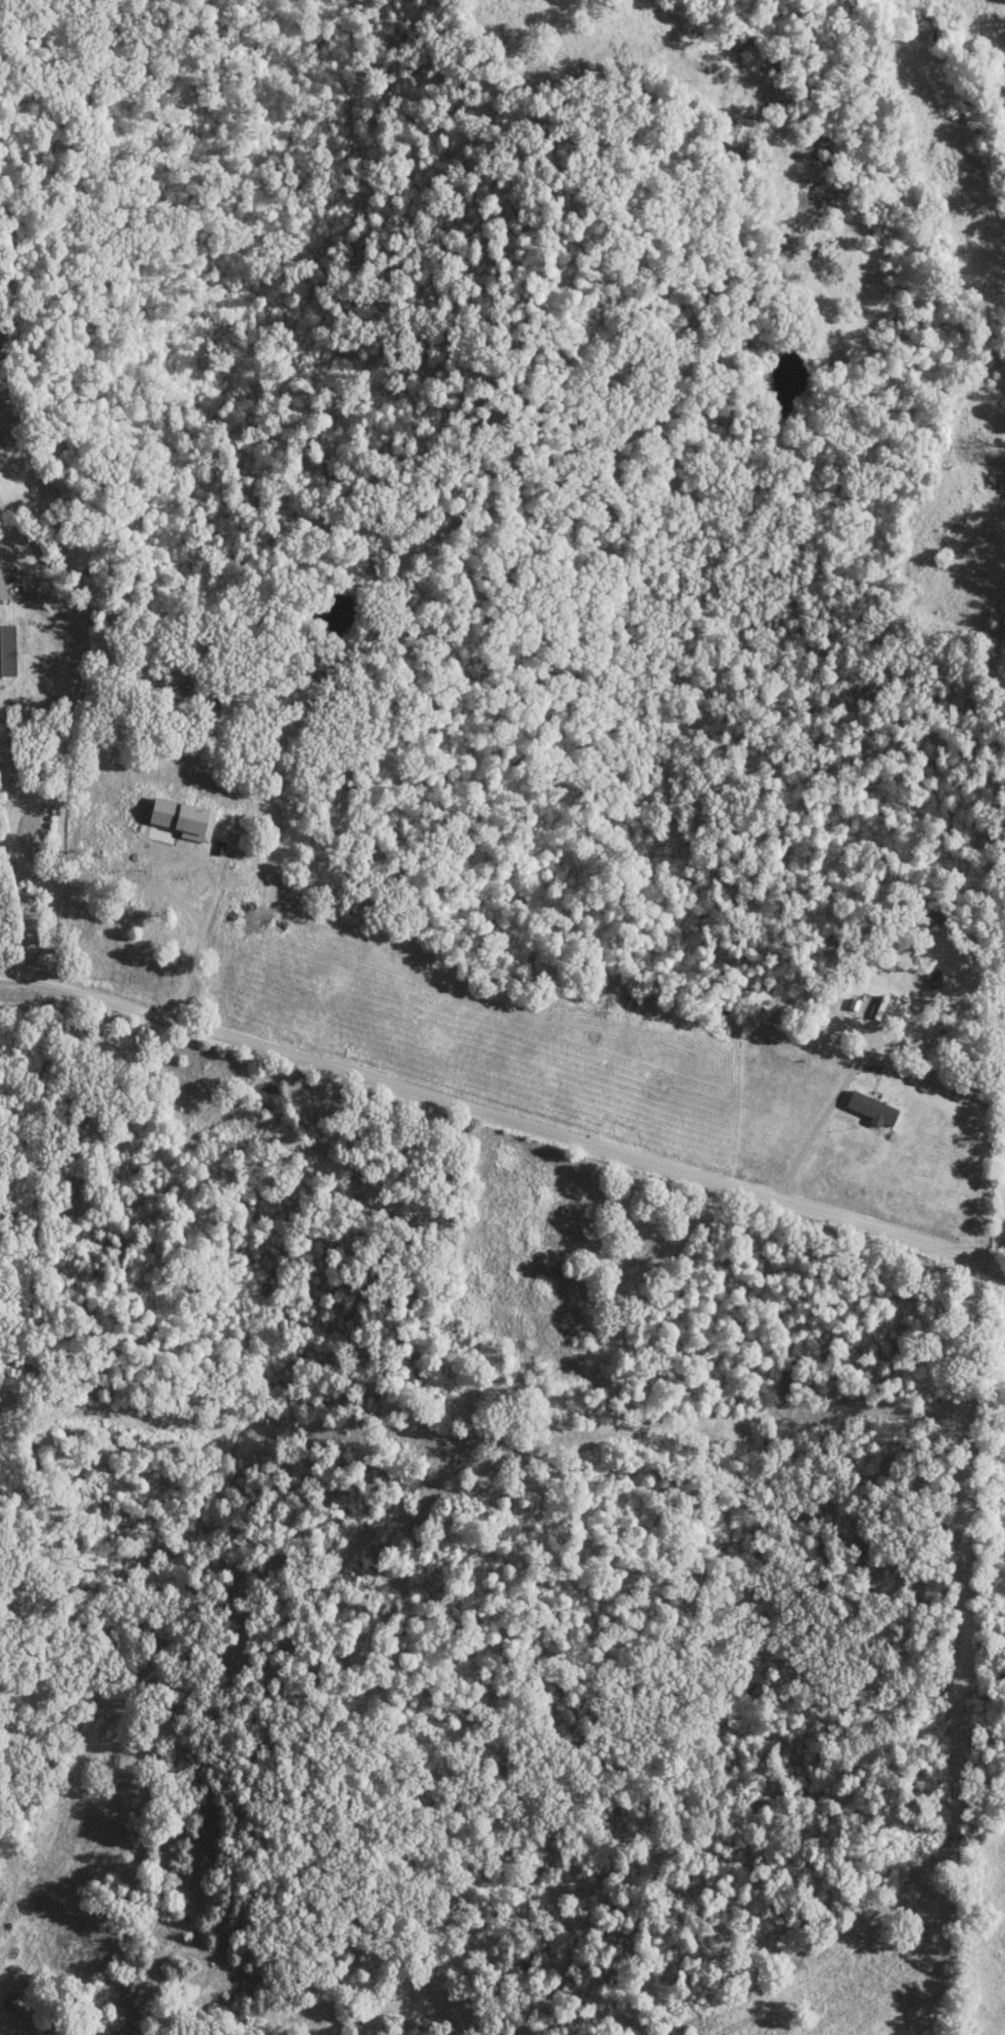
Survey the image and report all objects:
building: (3, 586)
building: (4, 649)
road: (68, 744)
building: (150, 892)
building: (249, 923)
building: (841, 1001)
road: (505, 1120)

